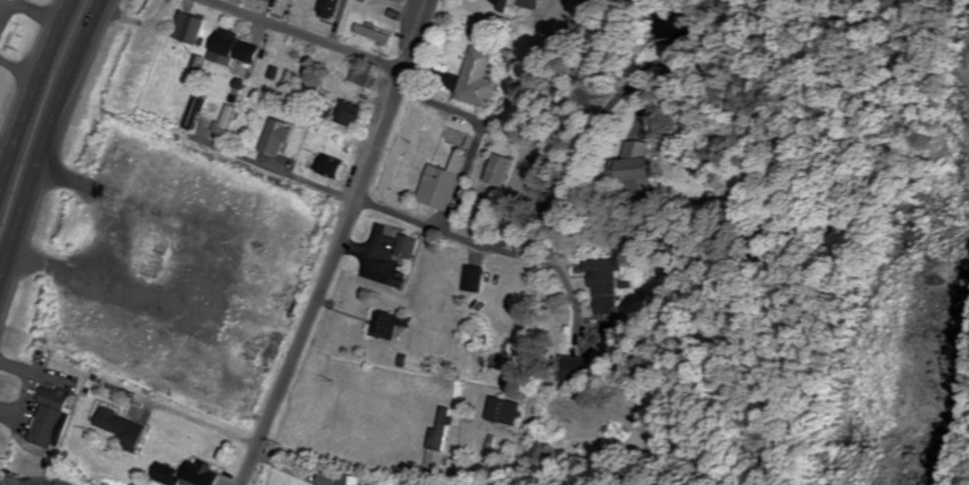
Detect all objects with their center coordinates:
building: (0, 0)
building: (16, 0)
building: (396, 0)
building: (514, 6)
building: (325, 8)
building: (672, 26)
building: (189, 29)
building: (370, 34)
road: (310, 36)
building: (233, 50)
building: (473, 79)
road: (34, 98)
building: (195, 111)
building: (345, 114)
building: (224, 122)
building: (273, 140)
road: (52, 148)
road: (241, 157)
building: (631, 162)
building: (327, 166)
building: (438, 185)
road: (553, 211)
road: (340, 243)
building: (405, 246)
building: (473, 278)
road: (562, 279)
building: (605, 286)
building: (383, 326)
building: (575, 371)
building: (499, 411)
building: (48, 418)
building: (119, 428)
building: (438, 438)
road: (415, 470)
building: (196, 474)
building: (335, 479)

